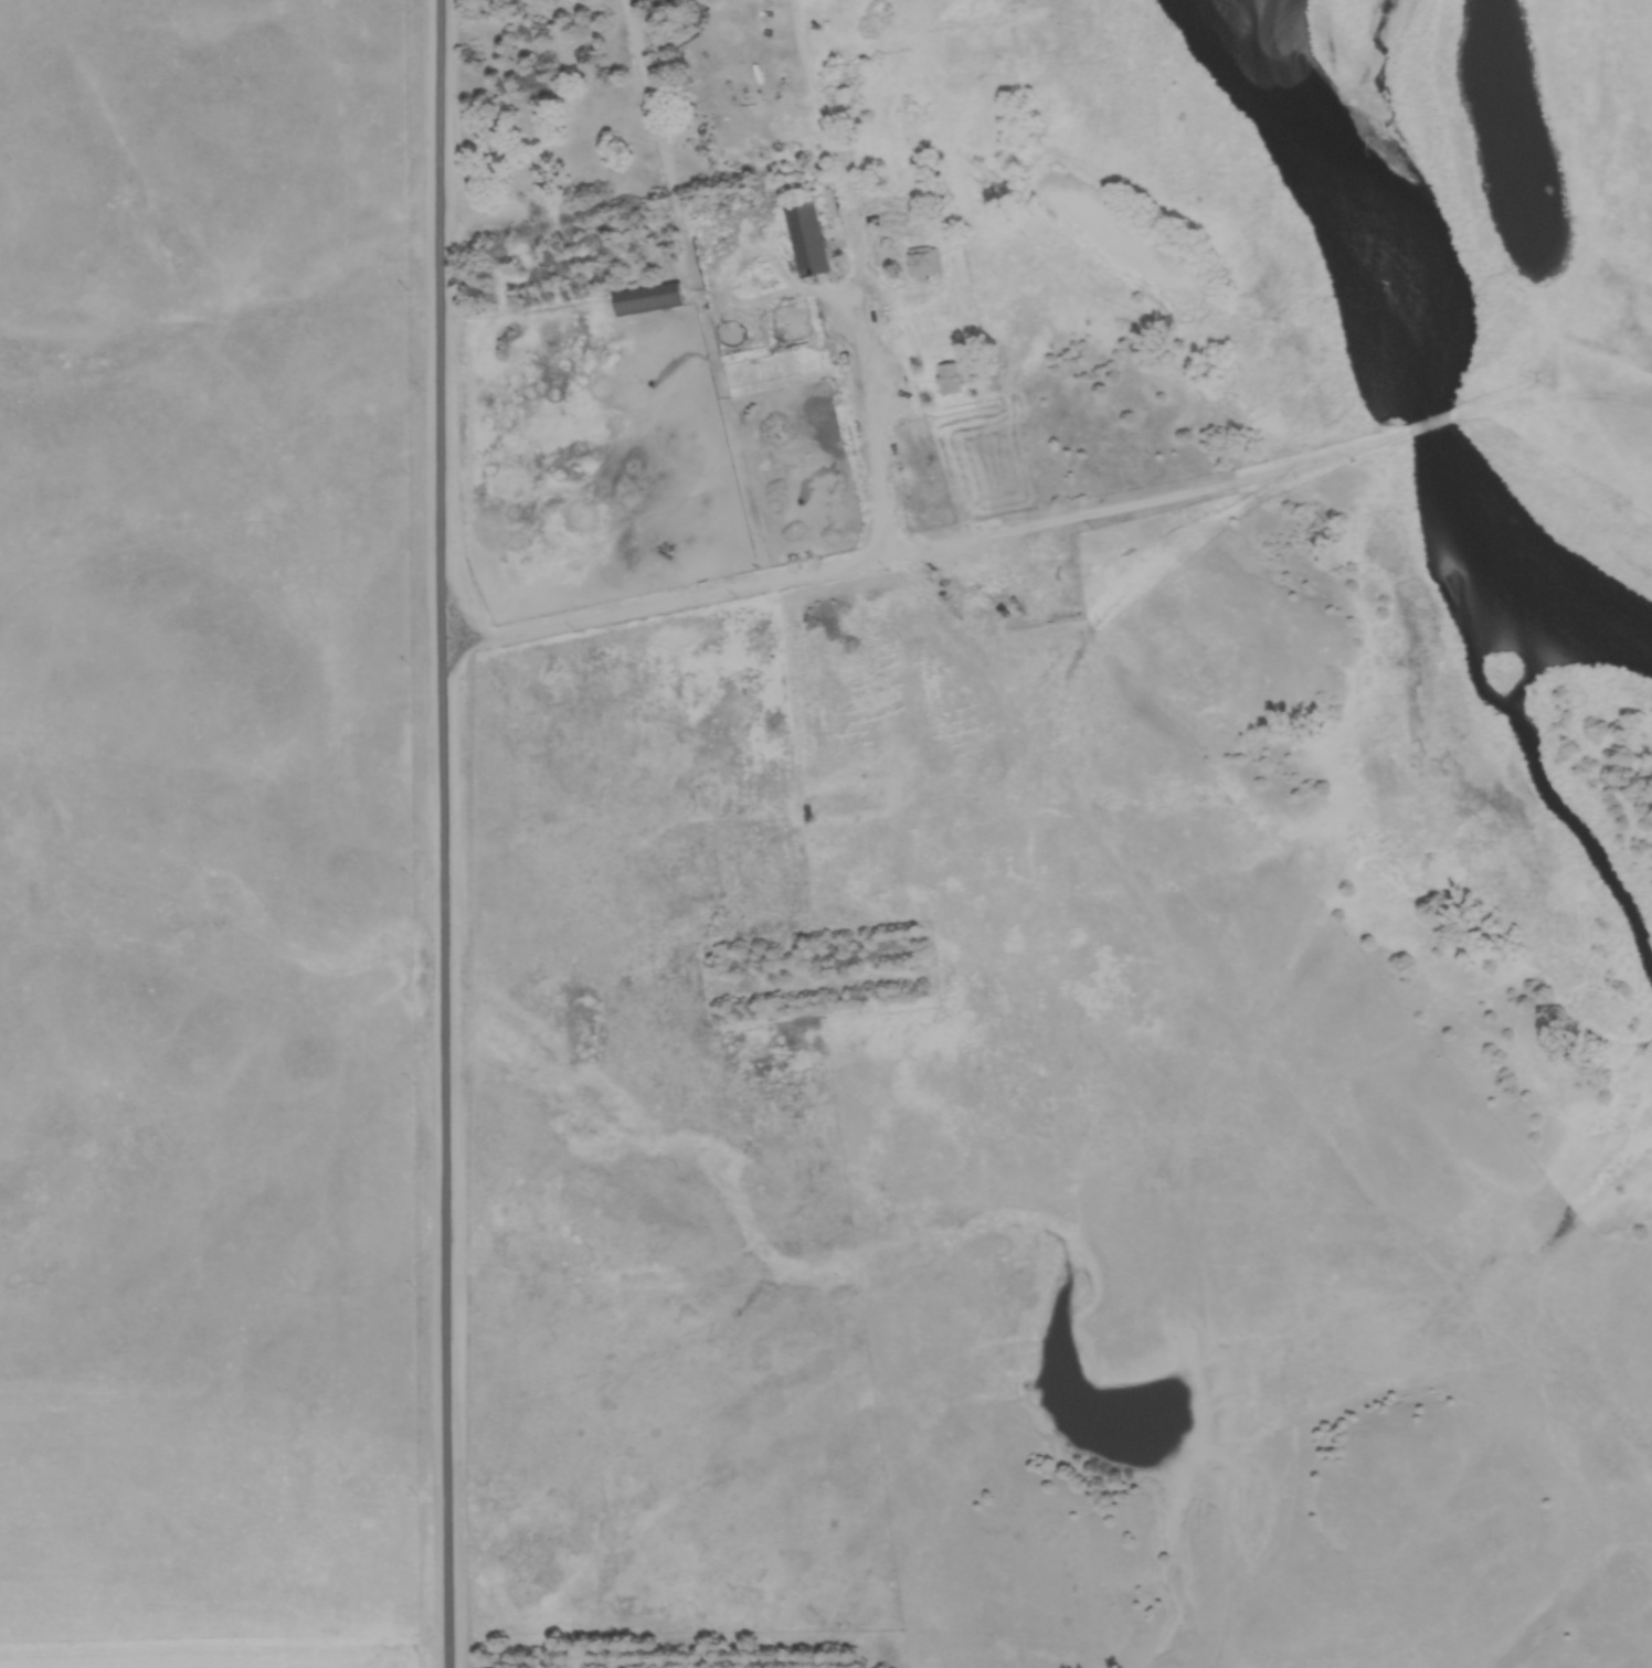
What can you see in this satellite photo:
building: (811, 237)
building: (926, 262)
building: (652, 299)
river: (1415, 354)
building: (956, 378)
building: (988, 523)
road: (826, 578)
road: (434, 833)

